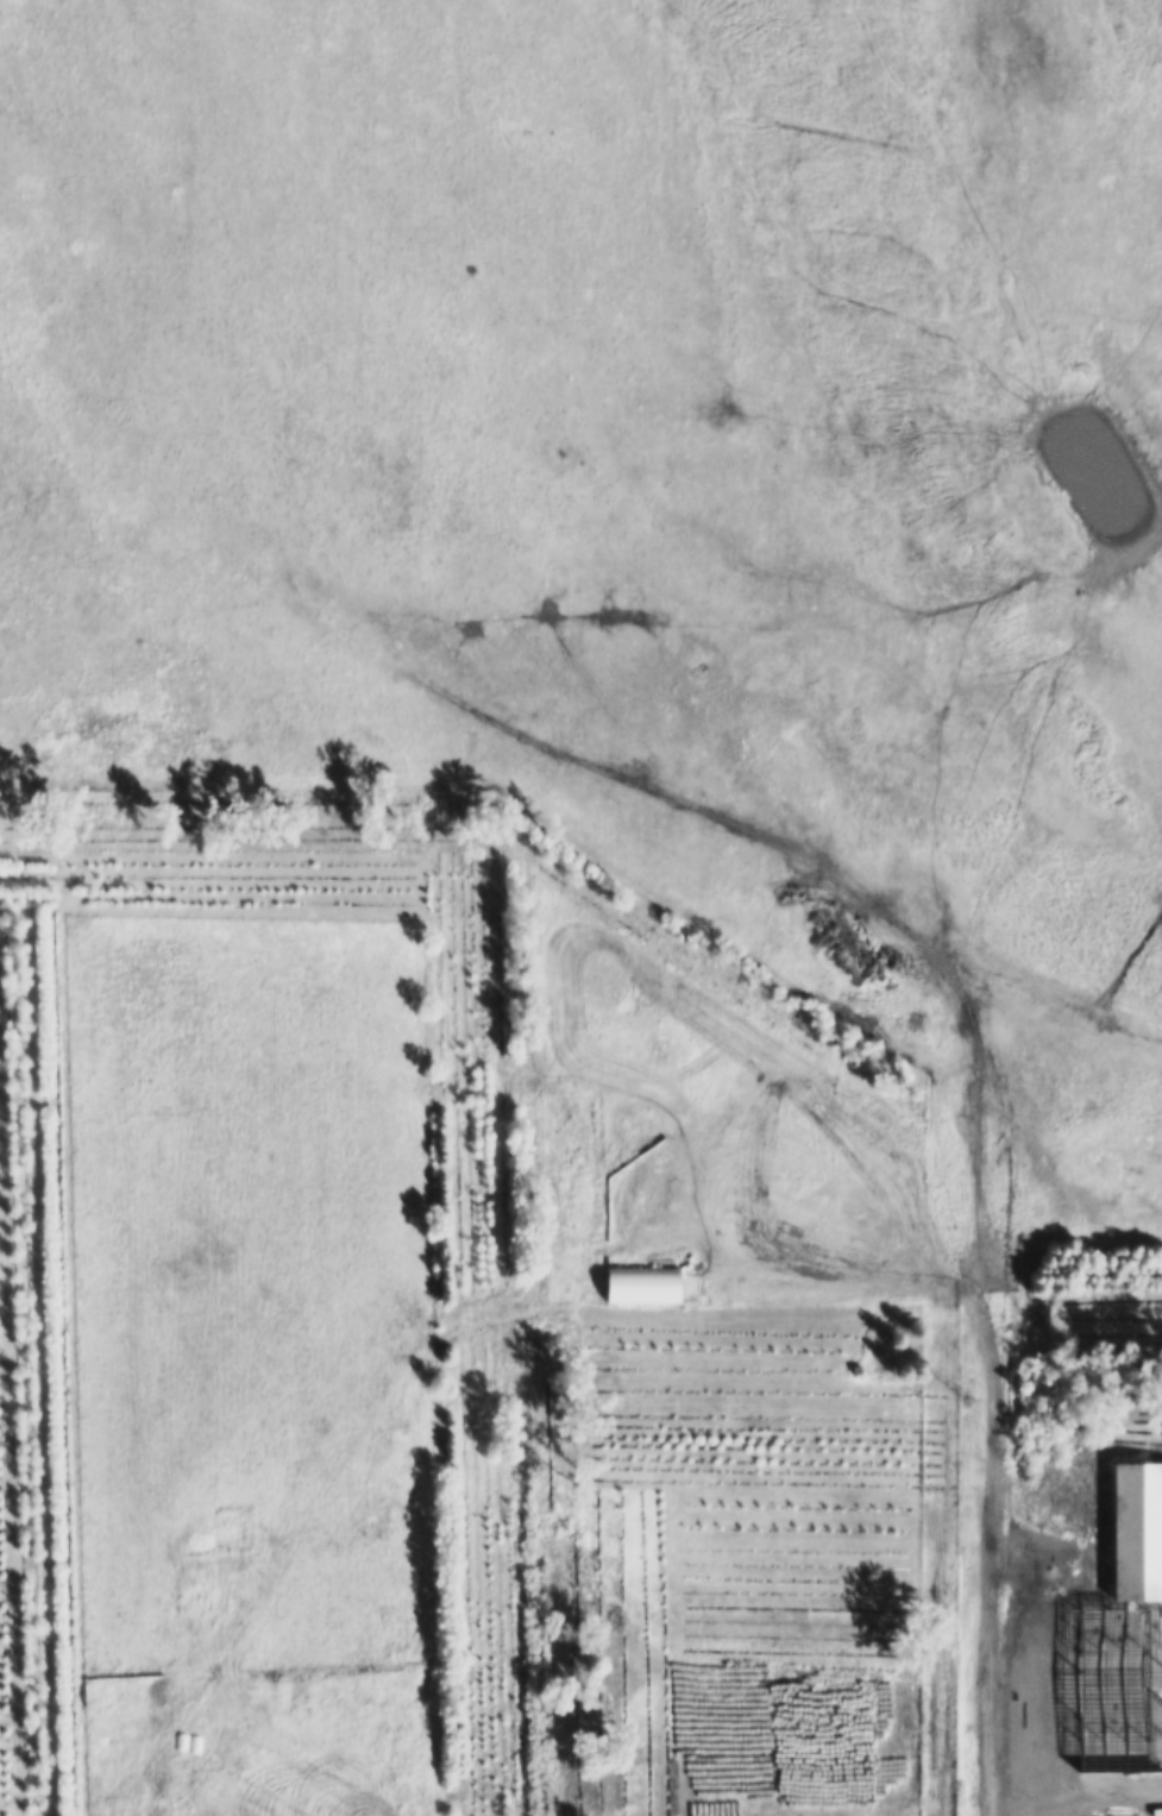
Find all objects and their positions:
building: (647, 1284)
building: (1138, 1531)
building: (1154, 1694)

